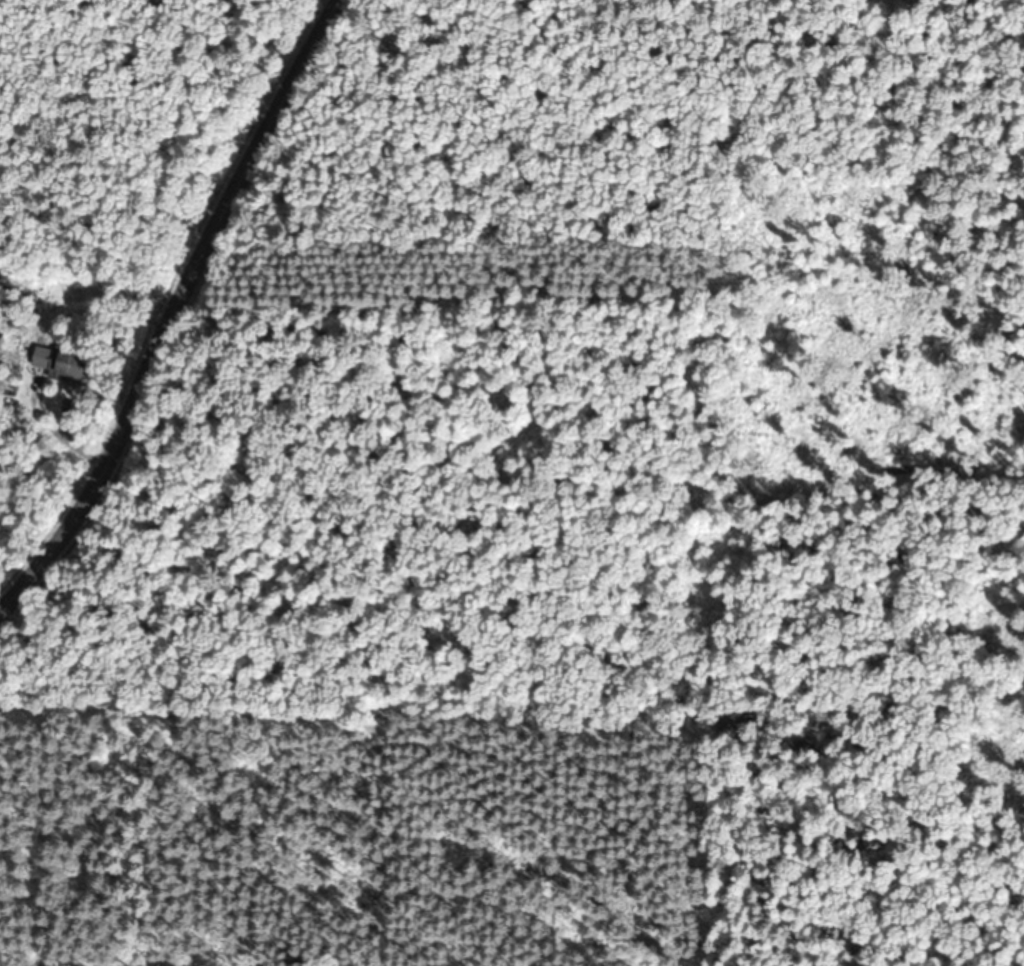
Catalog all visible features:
building: (18, 298)
road: (174, 308)
building: (2, 342)
building: (64, 363)

